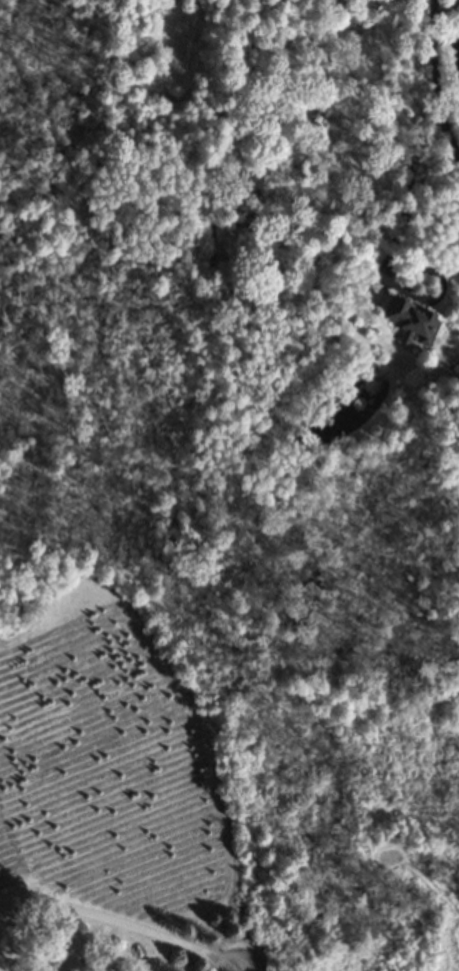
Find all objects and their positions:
road: (431, 129)
road: (447, 140)
building: (410, 320)
park: (363, 876)
road: (120, 929)
road: (239, 968)

